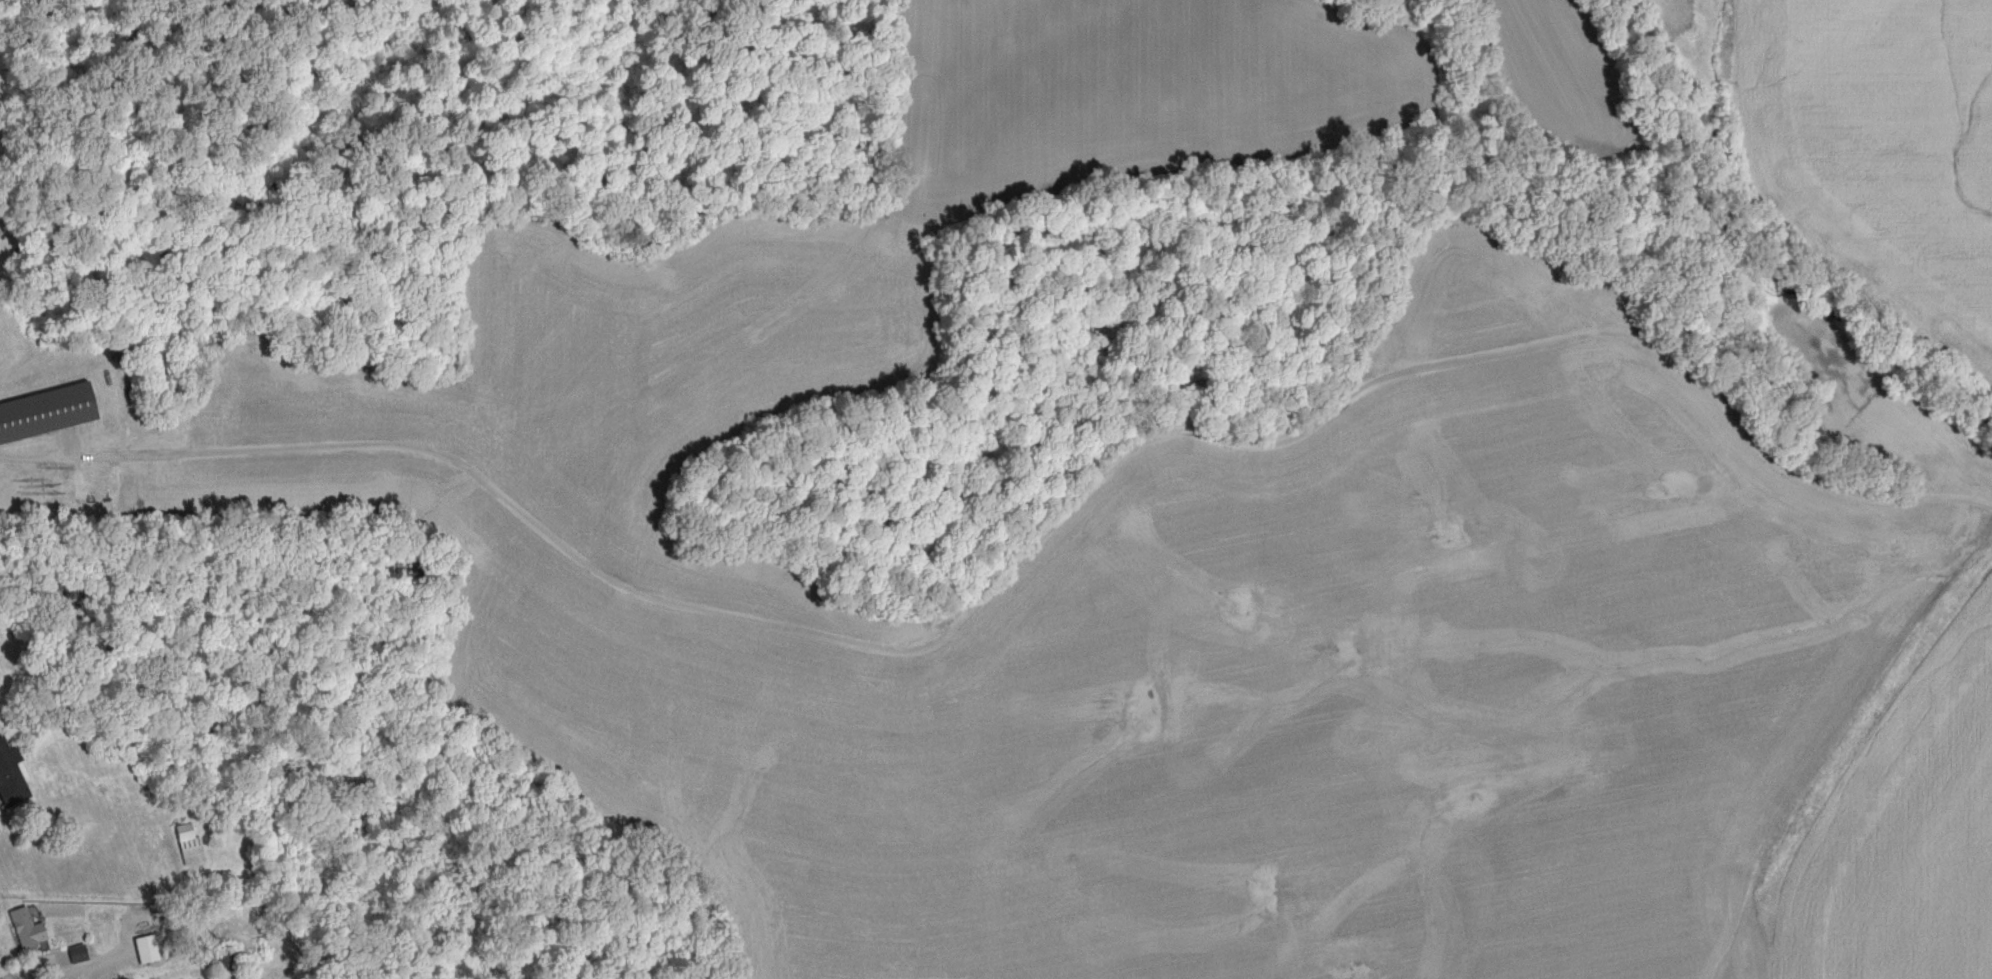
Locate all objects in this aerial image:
road: (187, 214)
building: (49, 414)
road: (1019, 554)
building: (14, 774)
building: (193, 843)
building: (31, 928)
building: (151, 949)
building: (82, 953)
building: (232, 964)

